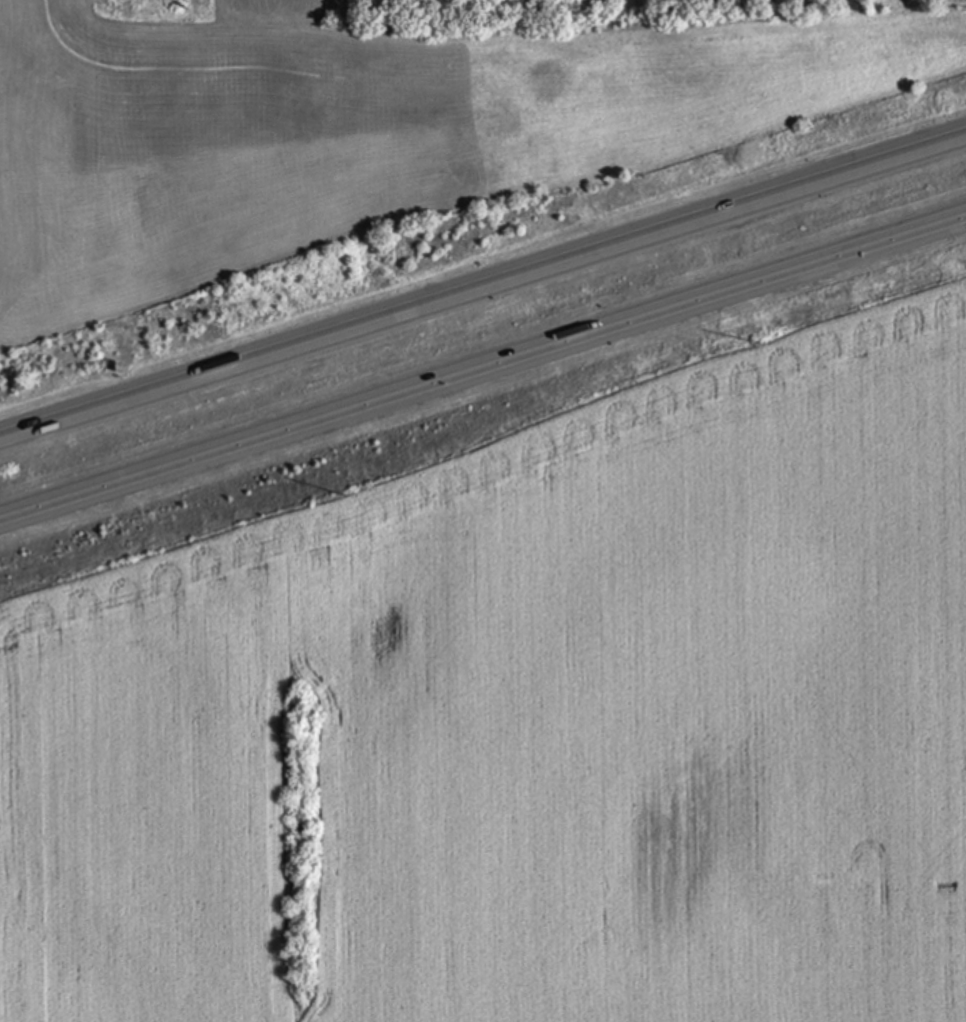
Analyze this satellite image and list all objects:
road: (482, 293)
road: (483, 374)

